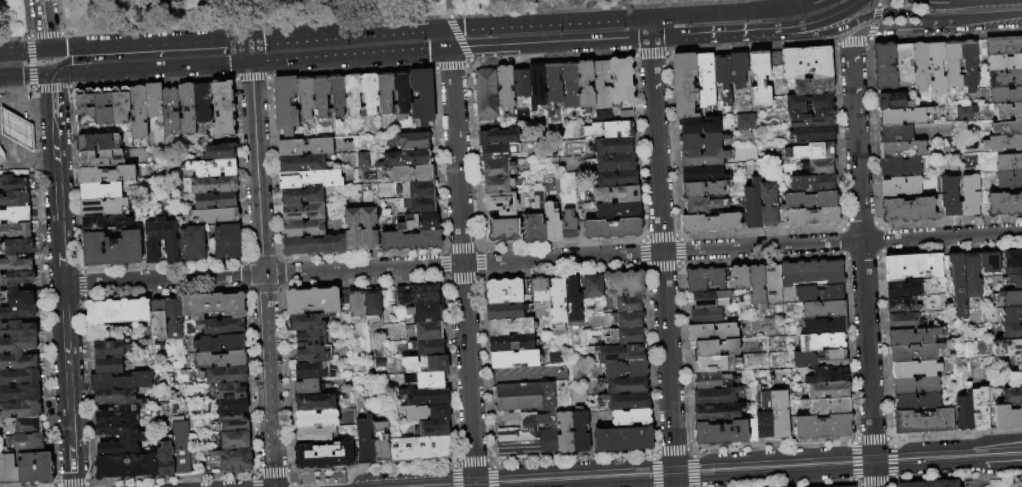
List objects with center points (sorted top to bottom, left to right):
road: (803, 2)
road: (805, 2)
road: (934, 2)
road: (982, 2)
road: (878, 3)
road: (447, 8)
road: (594, 8)
road: (888, 11)
road: (723, 12)
park: (261, 13)
traffic signals: (649, 17)
road: (874, 17)
road: (25, 18)
road: (987, 18)
road: (55, 20)
road: (821, 20)
road: (448, 22)
road: (549, 22)
road: (43, 24)
traffic signals: (449, 28)
road: (649, 28)
road: (913, 28)
road: (349, 32)
road: (871, 32)
road: (860, 33)
road: (50, 34)
road: (731, 34)
road: (803, 35)
road: (13, 36)
road: (945, 36)
road: (237, 37)
traffic signals: (249, 37)
road: (458, 37)
road: (666, 38)
road: (869, 38)
road: (449, 39)
traffic signals: (650, 39)
road: (164, 41)
road: (866, 42)
road: (849, 43)
road: (549, 44)
building: (1002, 45)
road: (74, 46)
road: (749, 47)
traffic signals: (47, 49)
road: (23, 50)
road: (250, 50)
traffic signals: (450, 50)
road: (649, 54)
road: (73, 56)
road: (350, 57)
building: (774, 58)
road: (29, 62)
road: (48, 62)
building: (806, 62)
building: (1004, 62)
building: (904, 63)
traffic signals: (251, 64)
road: (468, 64)
building: (951, 64)
building: (884, 65)
building: (920, 65)
building: (969, 65)
road: (449, 67)
building: (936, 68)
road: (150, 69)
building: (737, 69)
building: (721, 71)
road: (24, 75)
traffic signals: (50, 75)
building: (759, 76)
road: (250, 78)
building: (1004, 78)
building: (705, 79)
road: (151, 81)
building: (552, 82)
building: (620, 82)
building: (520, 84)
building: (683, 84)
building: (536, 85)
building: (569, 85)
building: (584, 85)
building: (600, 85)
building: (813, 86)
road: (51, 87)
building: (504, 87)
road: (31, 88)
road: (15, 89)
road: (32, 89)
road: (31, 91)
building: (384, 91)
building: (401, 92)
building: (352, 93)
building: (369, 93)
building: (319, 95)
building: (337, 95)
building: (421, 95)
building: (485, 95)
building: (1005, 95)
building: (304, 96)
road: (52, 101)
building: (153, 101)
building: (891, 101)
building: (201, 102)
building: (809, 103)
building: (119, 104)
building: (284, 104)
building: (101, 105)
building: (83, 106)
building: (185, 108)
building: (222, 108)
building: (169, 109)
building: (1007, 110)
building: (137, 111)
building: (963, 112)
building: (625, 115)
building: (602, 116)
building: (903, 116)
building: (810, 119)
building: (743, 121)
building: (699, 125)
building: (1008, 127)
building: (15, 130)
gas station: (15, 130)
building: (608, 130)
building: (896, 133)
building: (813, 134)
road: (838, 135)
building: (497, 137)
building: (413, 140)
building: (97, 141)
building: (701, 141)
road: (855, 141)
building: (1002, 143)
road: (670, 144)
building: (948, 145)
building: (304, 146)
building: (612, 146)
building: (903, 149)
building: (220, 151)
building: (815, 151)
road: (12, 152)
building: (493, 153)
building: (1, 154)
road: (44, 157)
building: (702, 157)
building: (99, 158)
building: (405, 158)
building: (361, 159)
building: (1008, 161)
building: (614, 162)
building: (301, 163)
building: (819, 166)
building: (898, 166)
building: (212, 167)
road: (257, 168)
building: (496, 169)
building: (412, 173)
road: (56, 174)
building: (106, 174)
building: (703, 174)
building: (309, 178)
building: (615, 178)
road: (74, 179)
building: (1009, 179)
building: (13, 183)
building: (813, 183)
building: (212, 184)
building: (496, 185)
building: (899, 186)
building: (419, 188)
building: (703, 189)
building: (386, 190)
building: (99, 191)
building: (615, 194)
building: (301, 195)
building: (970, 196)
building: (949, 197)
building: (13, 198)
building: (214, 200)
building: (809, 200)
building: (514, 203)
building: (937, 203)
building: (768, 204)
building: (1003, 204)
building: (415, 205)
building: (700, 205)
road: (874, 205)
building: (101, 206)
building: (751, 206)
building: (907, 209)
building: (617, 211)
building: (302, 212)
building: (14, 214)
building: (210, 215)
building: (780, 216)
building: (812, 216)
building: (104, 222)
building: (416, 222)
building: (710, 223)
road: (874, 223)
road: (859, 224)
building: (551, 225)
building: (567, 225)
road: (879, 227)
building: (303, 228)
building: (352, 229)
building: (368, 229)
building: (533, 229)
building: (608, 229)
road: (840, 229)
building: (502, 230)
building: (14, 231)
road: (761, 232)
road: (673, 235)
road: (659, 236)
road: (642, 237)
road: (644, 237)
road: (677, 237)
road: (879, 239)
building: (160, 240)
building: (410, 240)
road: (640, 240)
building: (226, 241)
road: (840, 241)
building: (191, 243)
building: (312, 245)
building: (15, 246)
road: (475, 246)
road: (741, 246)
road: (459, 247)
building: (110, 248)
road: (443, 248)
road: (445, 248)
road: (479, 249)
road: (679, 250)
road: (243, 251)
road: (640, 251)
road: (880, 251)
road: (441, 252)
road: (60, 253)
road: (842, 254)
road: (875, 257)
road: (275, 258)
road: (845, 258)
road: (860, 258)
road: (245, 259)
road: (260, 259)
road: (758, 260)
road: (278, 261)
road: (480, 261)
road: (662, 262)
road: (680, 262)
building: (989, 262)
building: (1012, 262)
road: (241, 263)
building: (14, 264)
road: (442, 264)
road: (641, 264)
road: (676, 266)
building: (912, 267)
building: (944, 267)
road: (461, 268)
road: (645, 268)
road: (661, 268)
road: (563, 270)
road: (278, 272)
building: (811, 273)
road: (261, 274)
road: (480, 274)
road: (877, 274)
road: (242, 275)
building: (971, 276)
road: (442, 277)
building: (16, 278)
building: (737, 278)
road: (477, 279)
building: (704, 279)
road: (461, 280)
road: (446, 281)
road: (358, 282)
building: (1014, 282)
road: (80, 283)
road: (280, 284)
building: (623, 284)
building: (772, 285)
building: (957, 285)
building: (757, 286)
road: (243, 287)
building: (592, 287)
road: (43, 288)
building: (903, 288)
road: (276, 289)
road: (262, 290)
building: (538, 290)
road: (247, 291)
building: (505, 292)
building: (417, 294)
building: (819, 294)
building: (15, 296)
building: (315, 299)
building: (706, 299)
building: (1011, 299)
road: (246, 300)
building: (572, 303)
building: (901, 304)
building: (213, 305)
building: (356, 305)
building: (372, 305)
building: (626, 305)
building: (556, 306)
building: (823, 309)
building: (16, 311)
building: (424, 312)
building: (504, 312)
building: (1011, 315)
building: (706, 316)
building: (113, 318)
building: (174, 318)
building: (158, 319)
building: (305, 321)
building: (627, 321)
building: (902, 321)
building: (222, 326)
building: (824, 326)
building: (509, 327)
building: (17, 328)
building: (425, 330)
building: (1011, 331)
building: (712, 332)
building: (624, 337)
building: (912, 337)
building: (310, 338)
building: (821, 342)
building: (219, 343)
building: (17, 344)
building: (510, 344)
building: (427, 347)
building: (715, 348)
building: (1006, 348)
building: (109, 349)
road: (867, 350)
building: (311, 353)
building: (914, 353)
building: (619, 354)
building: (512, 359)
building: (819, 359)
building: (219, 360)
building: (17, 361)
building: (1018, 362)
building: (424, 363)
road: (66, 364)
building: (716, 364)
building: (108, 365)
building: (914, 369)
building: (312, 370)
building: (625, 370)
building: (223, 375)
road: (528, 375)
building: (827, 375)
building: (19, 377)
road: (482, 378)
building: (426, 379)
building: (1013, 379)
road: (268, 380)
building: (120, 381)
building: (708, 381)
building: (625, 386)
building: (915, 386)
building: (307, 387)
road: (84, 388)
building: (227, 391)
building: (828, 391)
building: (19, 393)
building: (424, 396)
building: (1011, 396)
building: (714, 397)
building: (313, 402)
building: (626, 402)
building: (916, 402)
building: (116, 406)
building: (231, 407)
building: (827, 407)
building: (19, 409)
building: (979, 410)
building: (425, 412)
building: (963, 412)
building: (717, 413)
building: (779, 414)
building: (764, 417)
building: (1007, 417)
building: (314, 418)
building: (629, 418)
building: (526, 419)
building: (922, 421)
building: (232, 423)
building: (22, 425)
building: (433, 428)
building: (822, 428)
building: (579, 431)
building: (750, 431)
building: (564, 433)
road: (957, 433)
building: (314, 434)
building: (719, 434)
building: (118, 437)
road: (853, 438)
road: (870, 438)
road: (888, 438)
building: (233, 439)
building: (364, 440)
building: (621, 440)
building: (27, 441)
building: (379, 442)
road: (852, 442)
road: (893, 442)
road: (770, 445)
building: (180, 448)
building: (419, 448)
road: (686, 449)
road: (670, 450)
road: (653, 452)
road: (690, 453)
building: (322, 454)
road: (651, 456)
road: (571, 458)
building: (233, 459)
road: (489, 459)
building: (165, 460)
road: (454, 460)
road: (471, 460)
road: (852, 461)
road: (893, 461)
road: (452, 463)
road: (72, 465)
road: (492, 465)
building: (125, 466)
building: (34, 467)
road: (372, 467)
railway: (677, 467)
building: (7, 469)
road: (705, 469)
road: (271, 470)
road: (289, 471)
road: (694, 471)
railway: (737, 471)
road: (256, 472)
road: (652, 472)
road: (873, 473)
road: (253, 475)
road: (452, 475)
road: (492, 477)
road: (958, 477)
road: (173, 478)
road: (292, 478)
road: (894, 479)
road: (854, 481)
road: (892, 481)
road: (251, 482)
road: (874, 482)
road: (88, 483)
road: (856, 483)
road: (70, 484)
road: (890, 484)
building: (929, 484)
road: (55, 485)
road: (92, 485)
road: (292, 485)
road: (814, 485)
road: (857, 485)
road: (36, 486)
road: (53, 486)
building: (849, 486)

